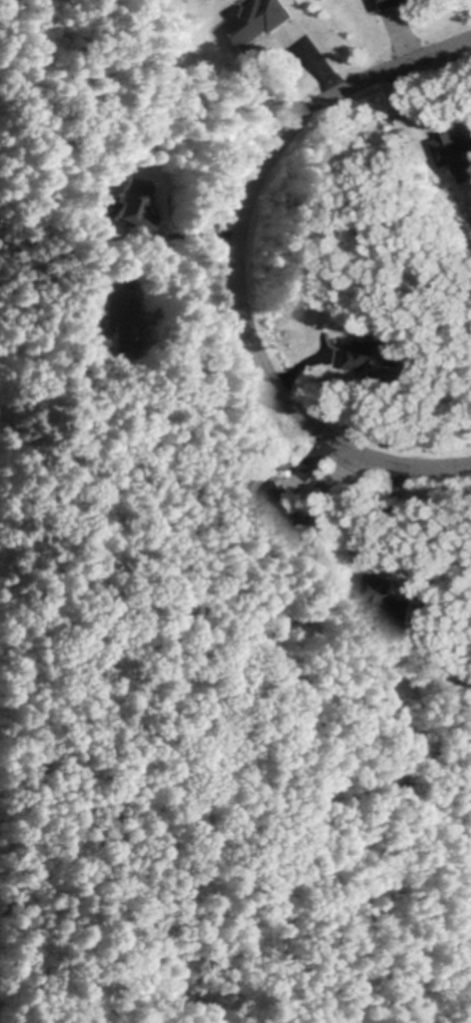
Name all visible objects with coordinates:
building: (389, 4)
building: (258, 21)
building: (454, 150)
building: (132, 208)
road: (237, 265)
building: (118, 324)
building: (376, 359)
building: (283, 512)
building: (283, 580)
building: (388, 600)
building: (214, 691)

